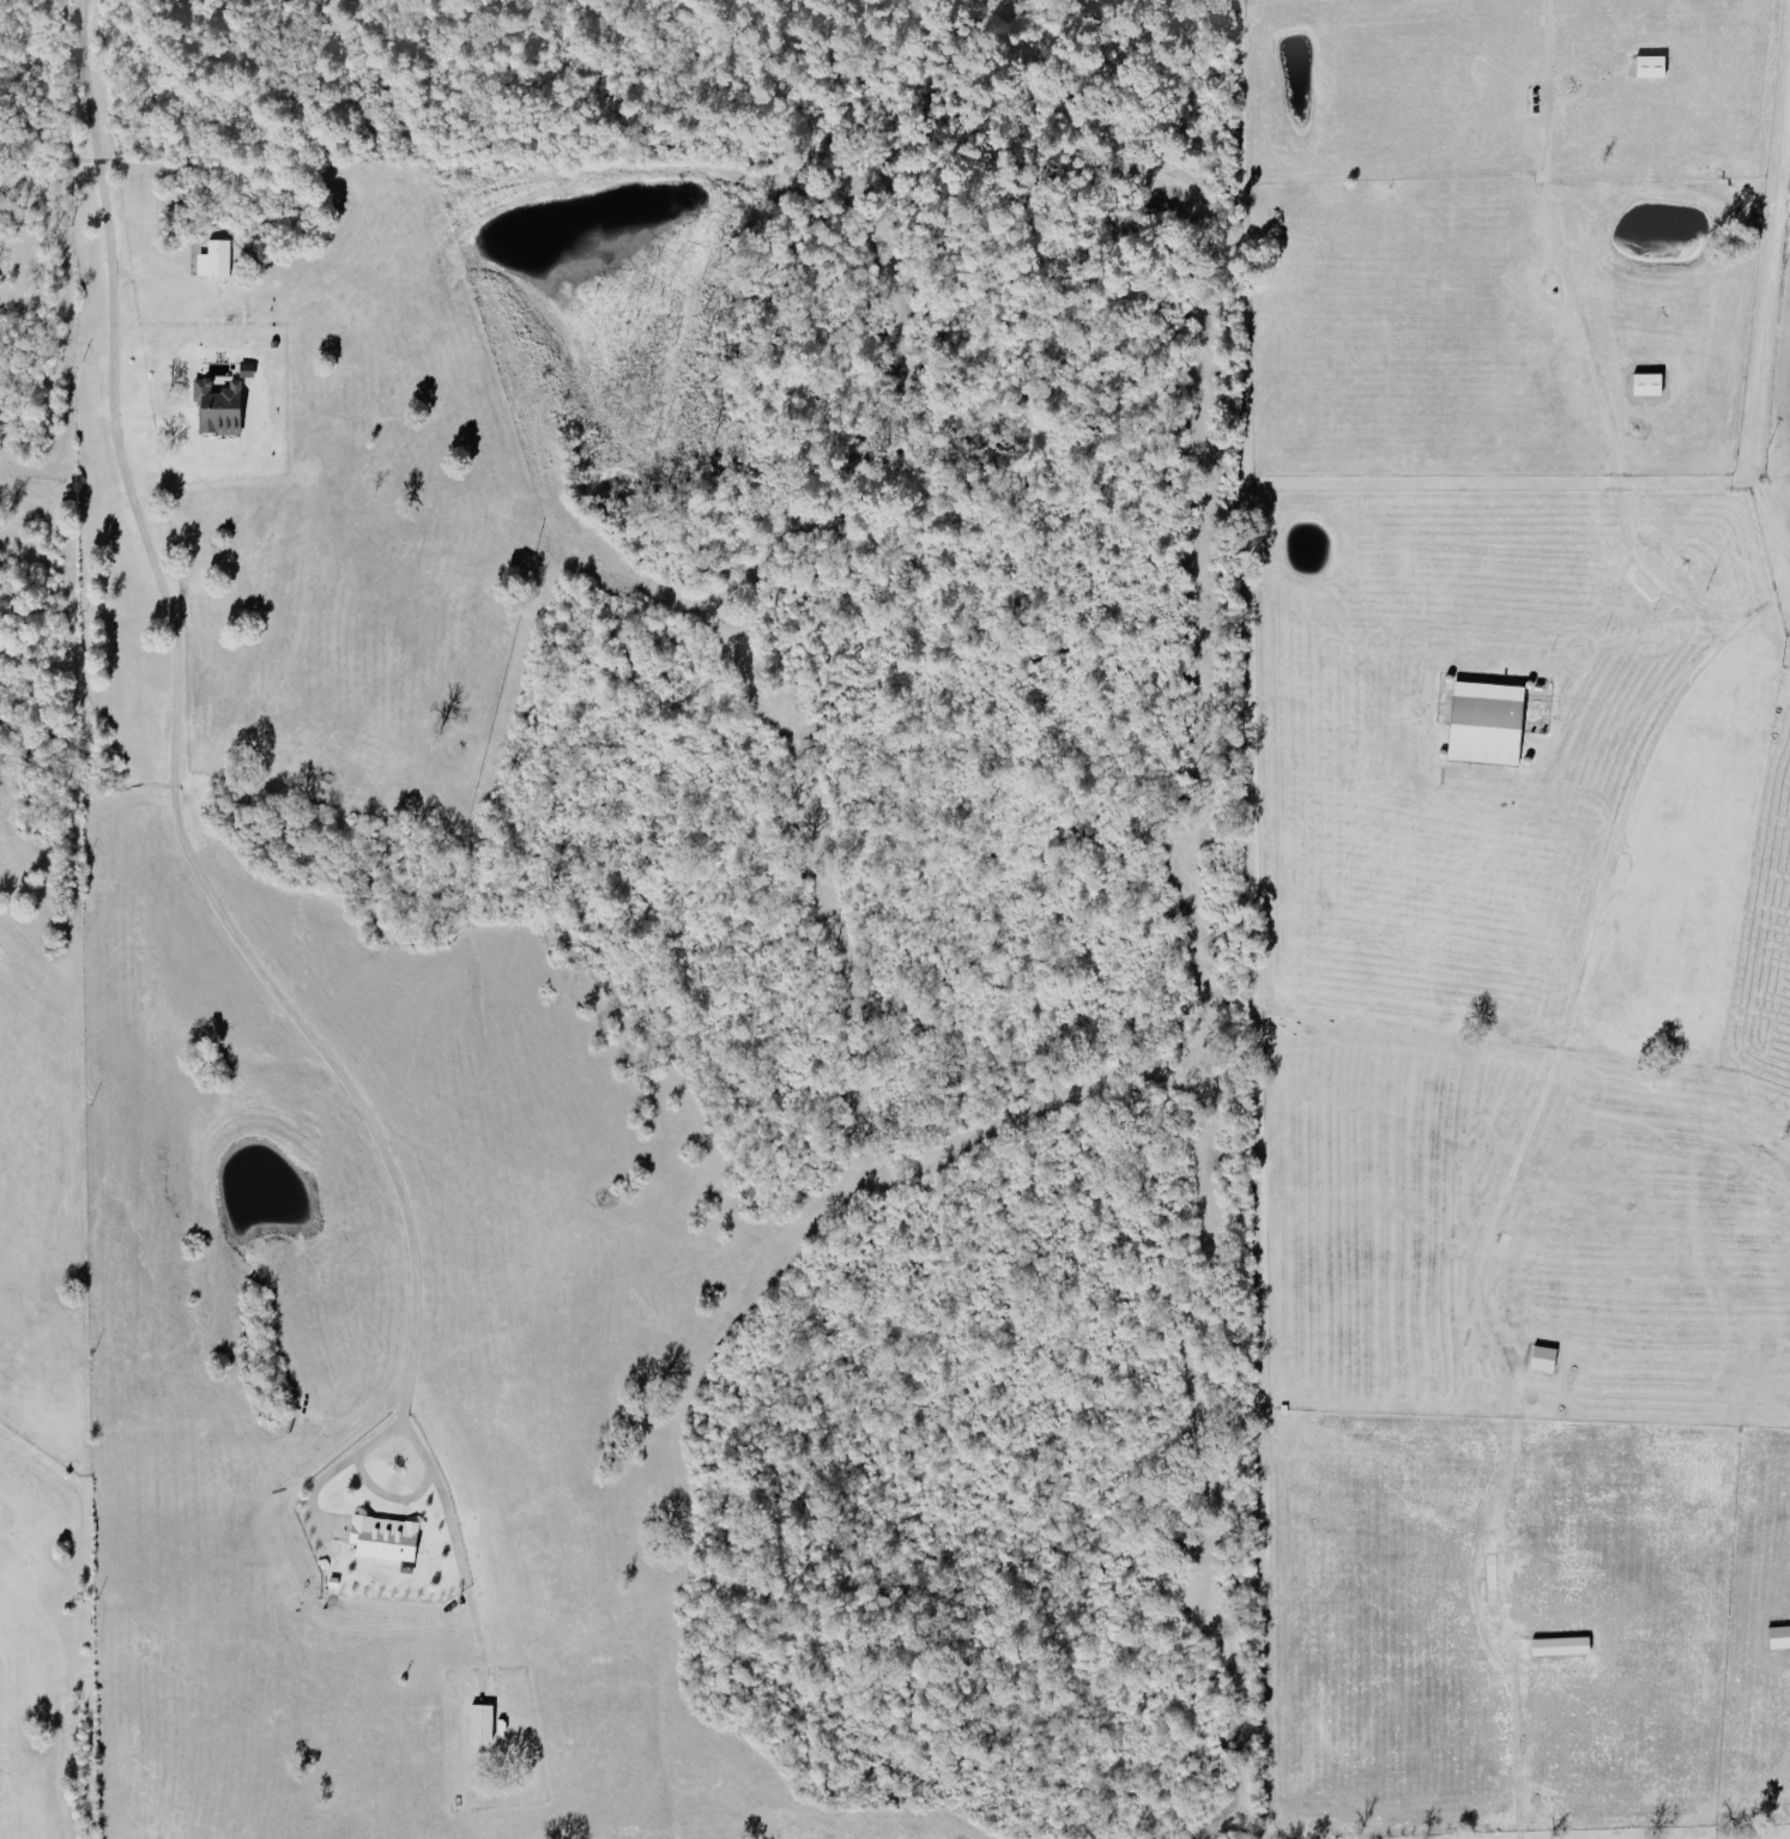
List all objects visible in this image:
building: (1653, 66)
road: (1554, 247)
building: (217, 259)
road: (1764, 311)
building: (1649, 381)
building: (220, 405)
road: (1620, 516)
building: (1488, 721)
road: (182, 736)
road: (1507, 1187)
building: (1547, 1357)
road: (393, 1496)
building: (386, 1537)
building: (1780, 1635)
building: (1564, 1644)
building: (483, 1722)

